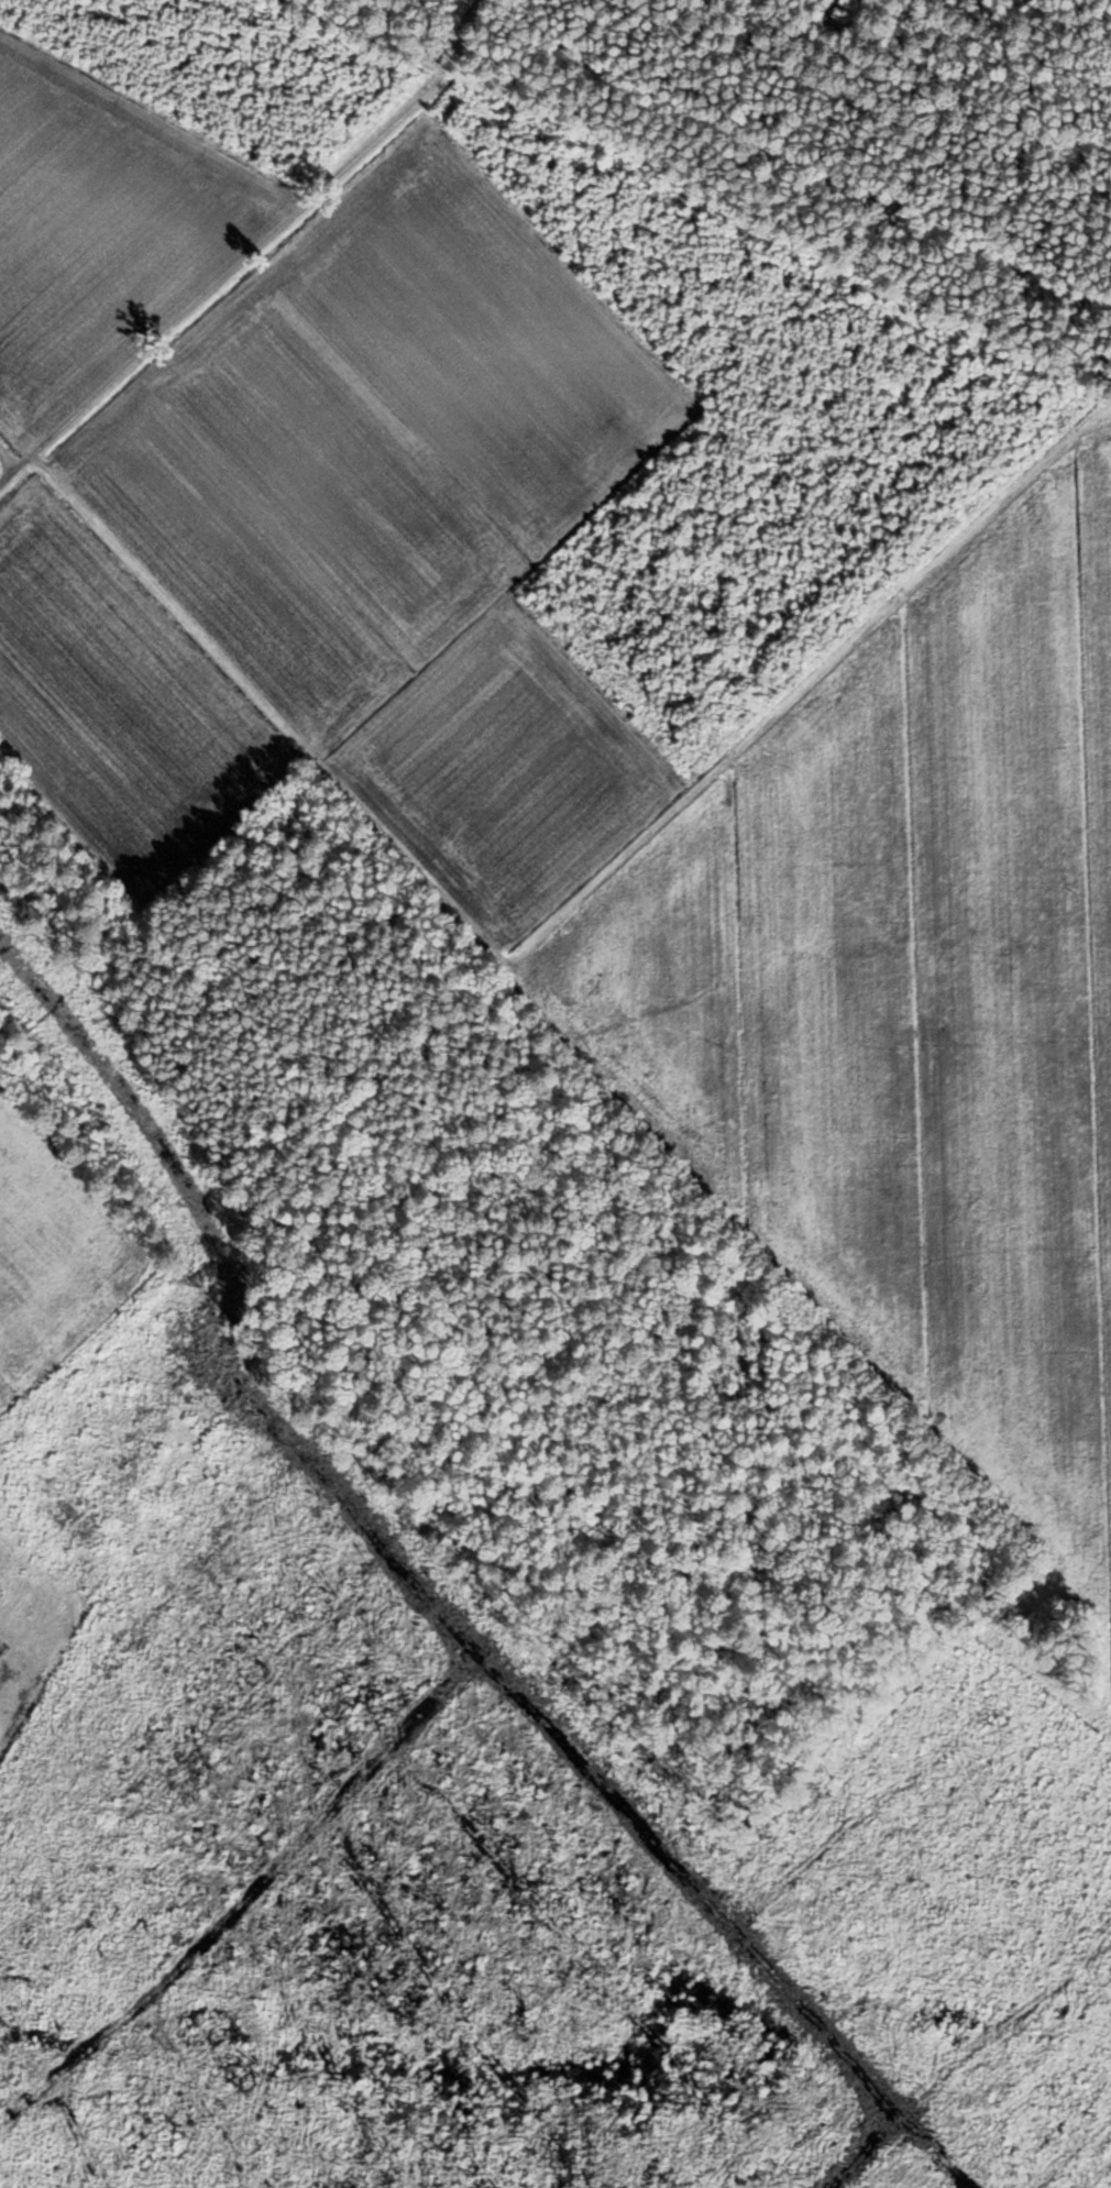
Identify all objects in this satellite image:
road: (7, 487)

